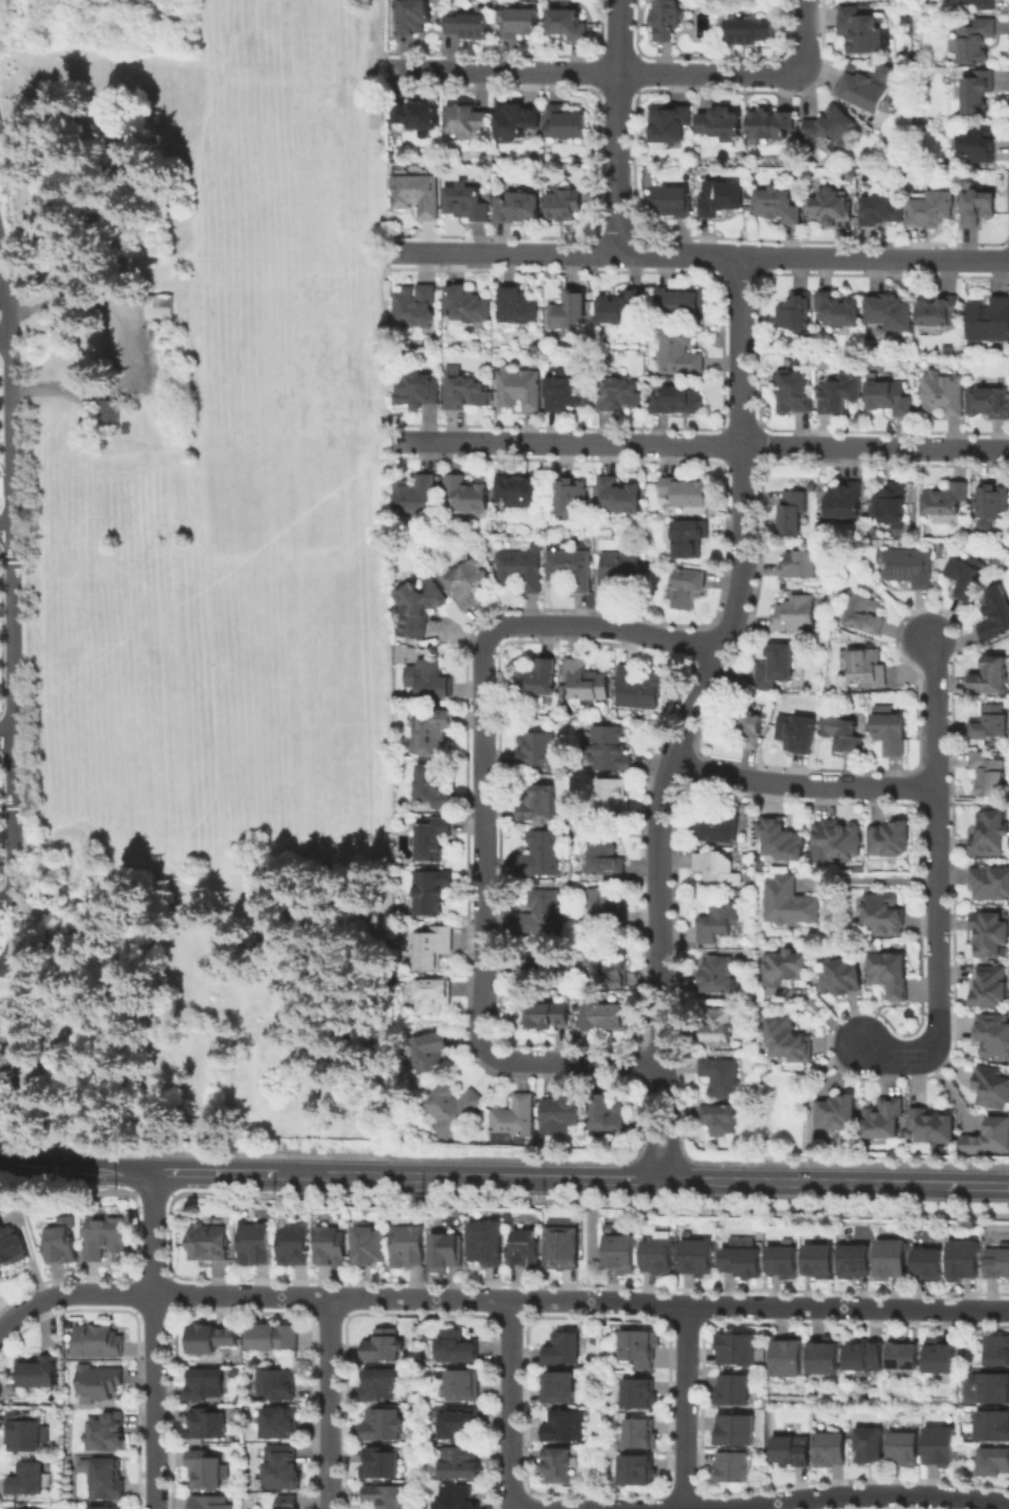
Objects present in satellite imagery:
building: (977, 4)
building: (412, 18)
building: (668, 20)
building: (565, 23)
building: (470, 24)
building: (518, 24)
building: (751, 33)
building: (861, 33)
road: (806, 34)
building: (975, 41)
road: (598, 73)
building: (869, 89)
building: (978, 94)
building: (418, 117)
building: (518, 121)
building: (467, 122)
building: (721, 124)
building: (772, 124)
building: (567, 125)
road: (618, 126)
building: (832, 126)
building: (670, 128)
parking lot: (0, 142)
building: (979, 142)
building: (418, 196)
building: (726, 199)
building: (672, 202)
building: (466, 204)
building: (566, 206)
building: (779, 206)
building: (976, 207)
building: (518, 209)
building: (832, 209)
building: (932, 210)
building: (881, 212)
road: (0, 247)
road: (700, 255)
road: (5, 295)
building: (680, 303)
building: (467, 306)
building: (161, 307)
building: (517, 307)
building: (416, 309)
parking lot: (0, 311)
building: (621, 311)
building: (840, 311)
building: (571, 312)
building: (796, 314)
building: (890, 314)
building: (936, 315)
building: (990, 321)
road: (6, 332)
building: (679, 354)
building: (7, 381)
building: (519, 389)
building: (464, 391)
building: (569, 391)
building: (793, 391)
building: (416, 392)
building: (946, 393)
building: (619, 396)
building: (839, 396)
building: (891, 398)
building: (677, 401)
building: (990, 403)
building: (110, 414)
road: (696, 444)
building: (688, 492)
building: (521, 493)
building: (467, 495)
building: (573, 495)
building: (618, 498)
building: (416, 499)
building: (946, 500)
building: (993, 501)
building: (846, 503)
building: (891, 504)
building: (793, 515)
road: (7, 532)
building: (689, 537)
building: (799, 566)
building: (908, 568)
building: (523, 572)
building: (571, 573)
building: (619, 574)
building: (967, 576)
building: (468, 585)
building: (689, 590)
road: (14, 607)
building: (419, 609)
building: (997, 614)
building: (797, 616)
building: (864, 616)
building: (777, 667)
building: (866, 669)
building: (991, 677)
building: (428, 681)
building: (586, 681)
building: (537, 682)
building: (639, 689)
road: (691, 717)
building: (991, 723)
building: (749, 728)
building: (891, 731)
building: (433, 733)
building: (799, 734)
building: (846, 734)
road: (7, 735)
building: (536, 751)
building: (611, 751)
building: (990, 777)
road: (802, 784)
building: (433, 787)
building: (612, 803)
road: (973, 803)
road: (483, 804)
building: (539, 805)
building: (720, 826)
building: (990, 836)
building: (433, 839)
building: (781, 839)
building: (838, 841)
building: (890, 841)
building: (541, 857)
building: (606, 860)
building: (718, 868)
road: (937, 883)
building: (990, 886)
parking lot: (0, 887)
building: (431, 894)
road: (7, 899)
building: (791, 906)
building: (607, 913)
building: (542, 914)
building: (881, 918)
building: (719, 924)
building: (990, 934)
building: (433, 950)
building: (531, 961)
building: (604, 964)
building: (784, 969)
building: (890, 976)
building: (718, 977)
building: (841, 978)
building: (987, 989)
building: (436, 998)
building: (550, 1018)
building: (602, 1020)
building: (719, 1028)
building: (991, 1038)
building: (789, 1041)
building: (435, 1053)
building: (723, 1081)
parking lot: (2, 1086)
building: (990, 1087)
building: (205, 1098)
road: (809, 1099)
building: (458, 1110)
building: (838, 1114)
building: (608, 1116)
building: (559, 1118)
building: (516, 1119)
building: (720, 1122)
building: (882, 1122)
building: (934, 1128)
building: (988, 1139)
road: (78, 1171)
road: (216, 1175)
road: (416, 1179)
road: (609, 1181)
road: (803, 1183)
road: (977, 1186)
road: (154, 1197)
road: (168, 1236)
building: (106, 1238)
road: (590, 1243)
building: (211, 1244)
building: (62, 1246)
building: (257, 1246)
building: (488, 1246)
building: (12, 1247)
building: (372, 1247)
building: (564, 1247)
building: (295, 1248)
building: (333, 1249)
building: (411, 1249)
building: (526, 1251)
building: (447, 1255)
building: (699, 1256)
building: (621, 1257)
building: (657, 1257)
building: (893, 1258)
building: (965, 1259)
building: (820, 1261)
building: (744, 1262)
building: (784, 1262)
building: (854, 1262)
building: (997, 1263)
building: (930, 1264)
road: (152, 1268)
road: (118, 1279)
road: (498, 1300)
road: (154, 1314)
building: (275, 1339)
building: (211, 1340)
road: (154, 1341)
building: (100, 1343)
building: (642, 1347)
building: (385, 1348)
building: (458, 1349)
building: (738, 1349)
building: (999, 1350)
building: (565, 1351)
building: (907, 1353)
building: (868, 1355)
building: (943, 1355)
building: (828, 1356)
building: (791, 1358)
building: (36, 1371)
building: (102, 1383)
building: (207, 1384)
building: (278, 1386)
building: (381, 1387)
building: (464, 1387)
building: (996, 1388)
building: (562, 1390)
building: (733, 1390)
building: (640, 1394)
road: (330, 1403)
road: (511, 1405)
road: (685, 1407)
building: (281, 1424)
building: (994, 1424)
building: (208, 1425)
building: (459, 1425)
building: (565, 1426)
building: (384, 1427)
building: (735, 1431)
building: (641, 1434)
building: (28, 1435)
building: (107, 1435)
building: (869, 1445)
building: (940, 1446)
building: (903, 1448)
building: (830, 1449)
building: (791, 1451)
building: (995, 1460)
building: (381, 1465)
building: (462, 1465)
building: (555, 1467)
building: (732, 1467)
building: (284, 1469)
building: (206, 1471)
building: (637, 1471)
building: (30, 1480)
building: (108, 1480)
road: (873, 1495)
building: (387, 1498)
building: (458, 1498)
building: (208, 1503)
building: (289, 1503)
building: (101, 1508)

